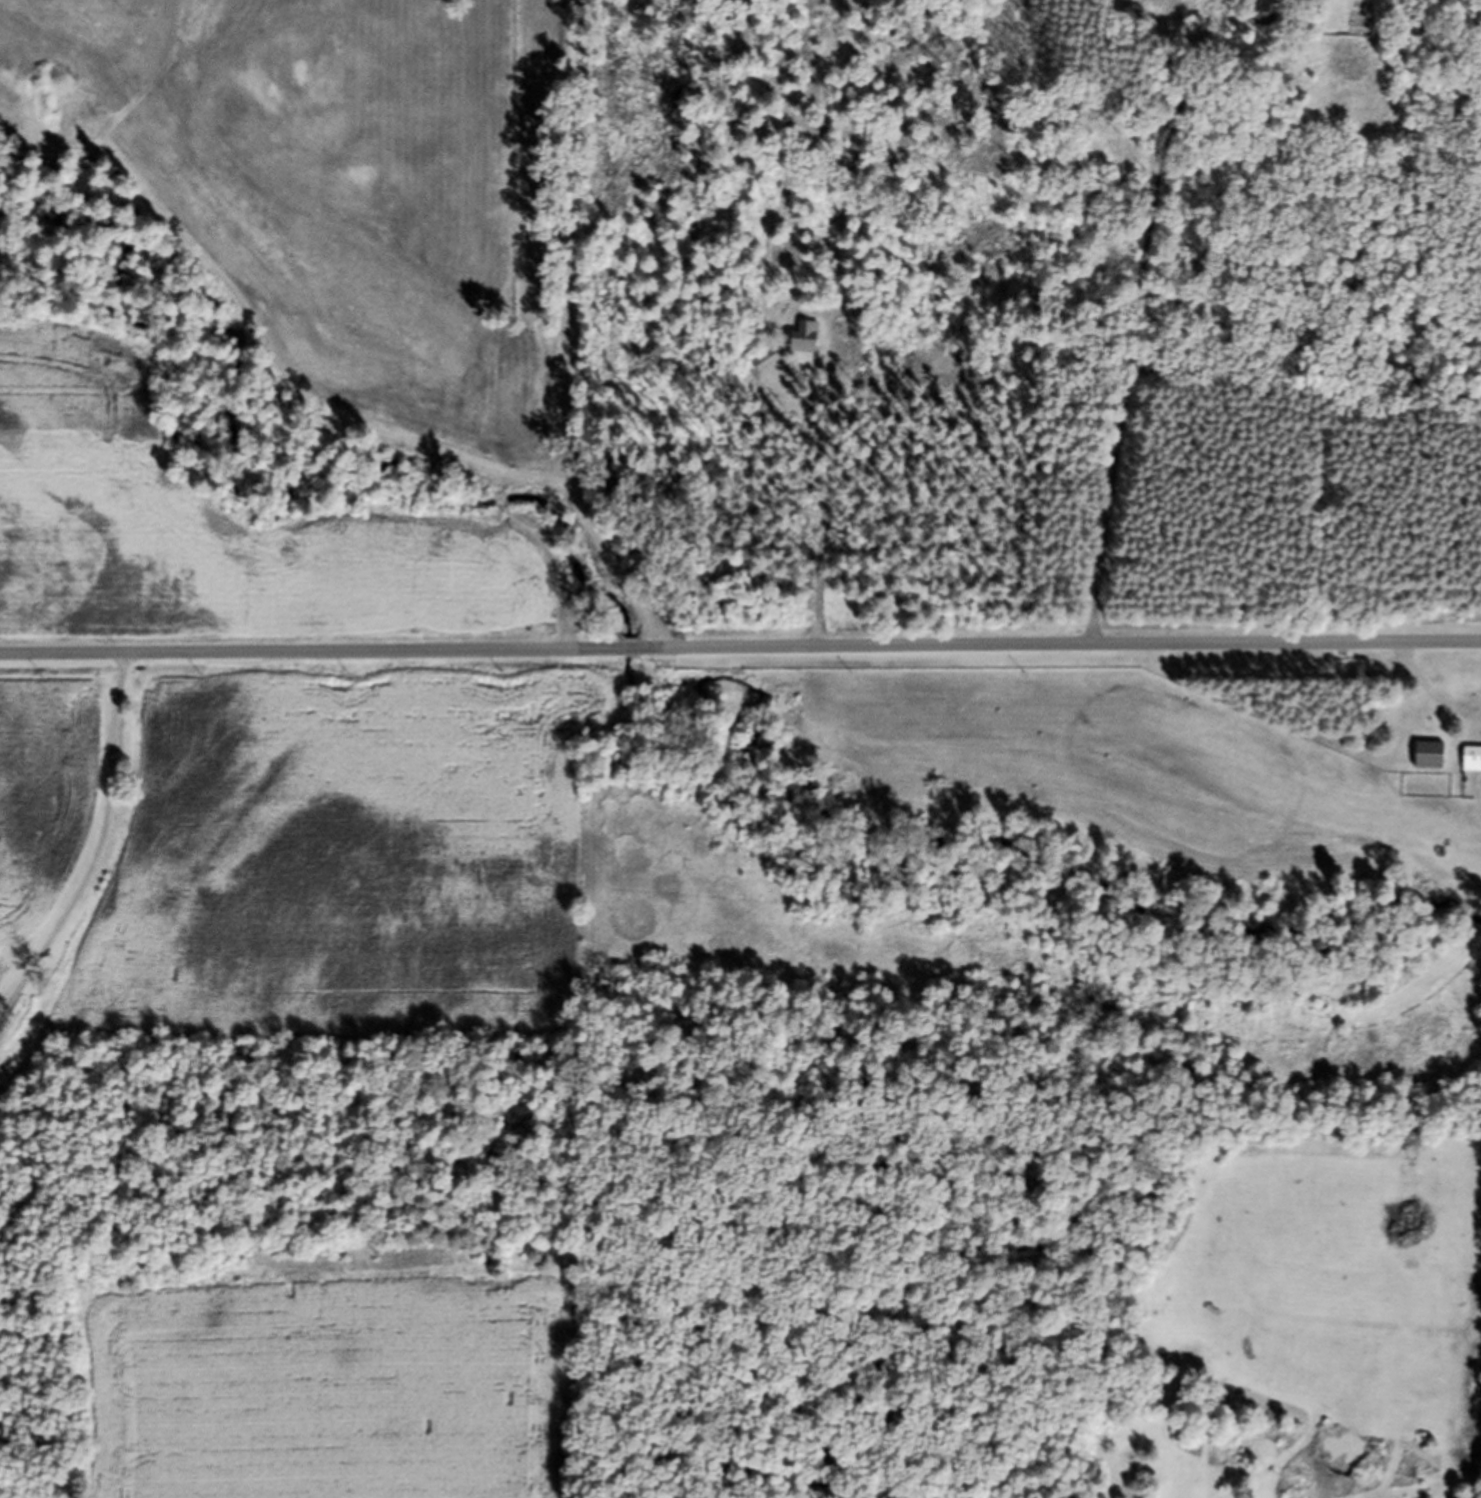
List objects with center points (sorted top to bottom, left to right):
building: (1332, 19)
building: (798, 342)
road: (1169, 353)
building: (768, 367)
road: (511, 571)
road: (740, 647)
building: (1422, 760)
building: (1468, 764)
road: (98, 851)

